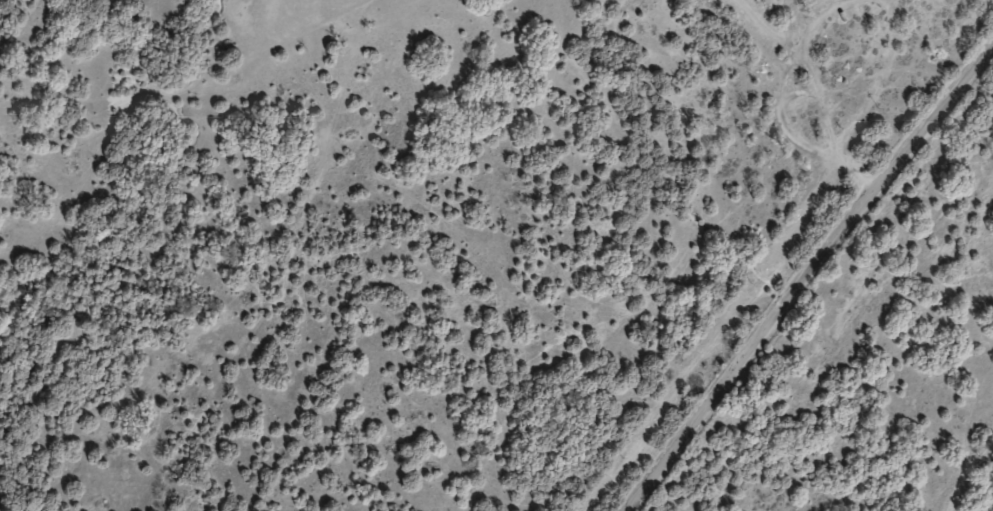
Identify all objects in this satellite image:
road: (806, 273)

